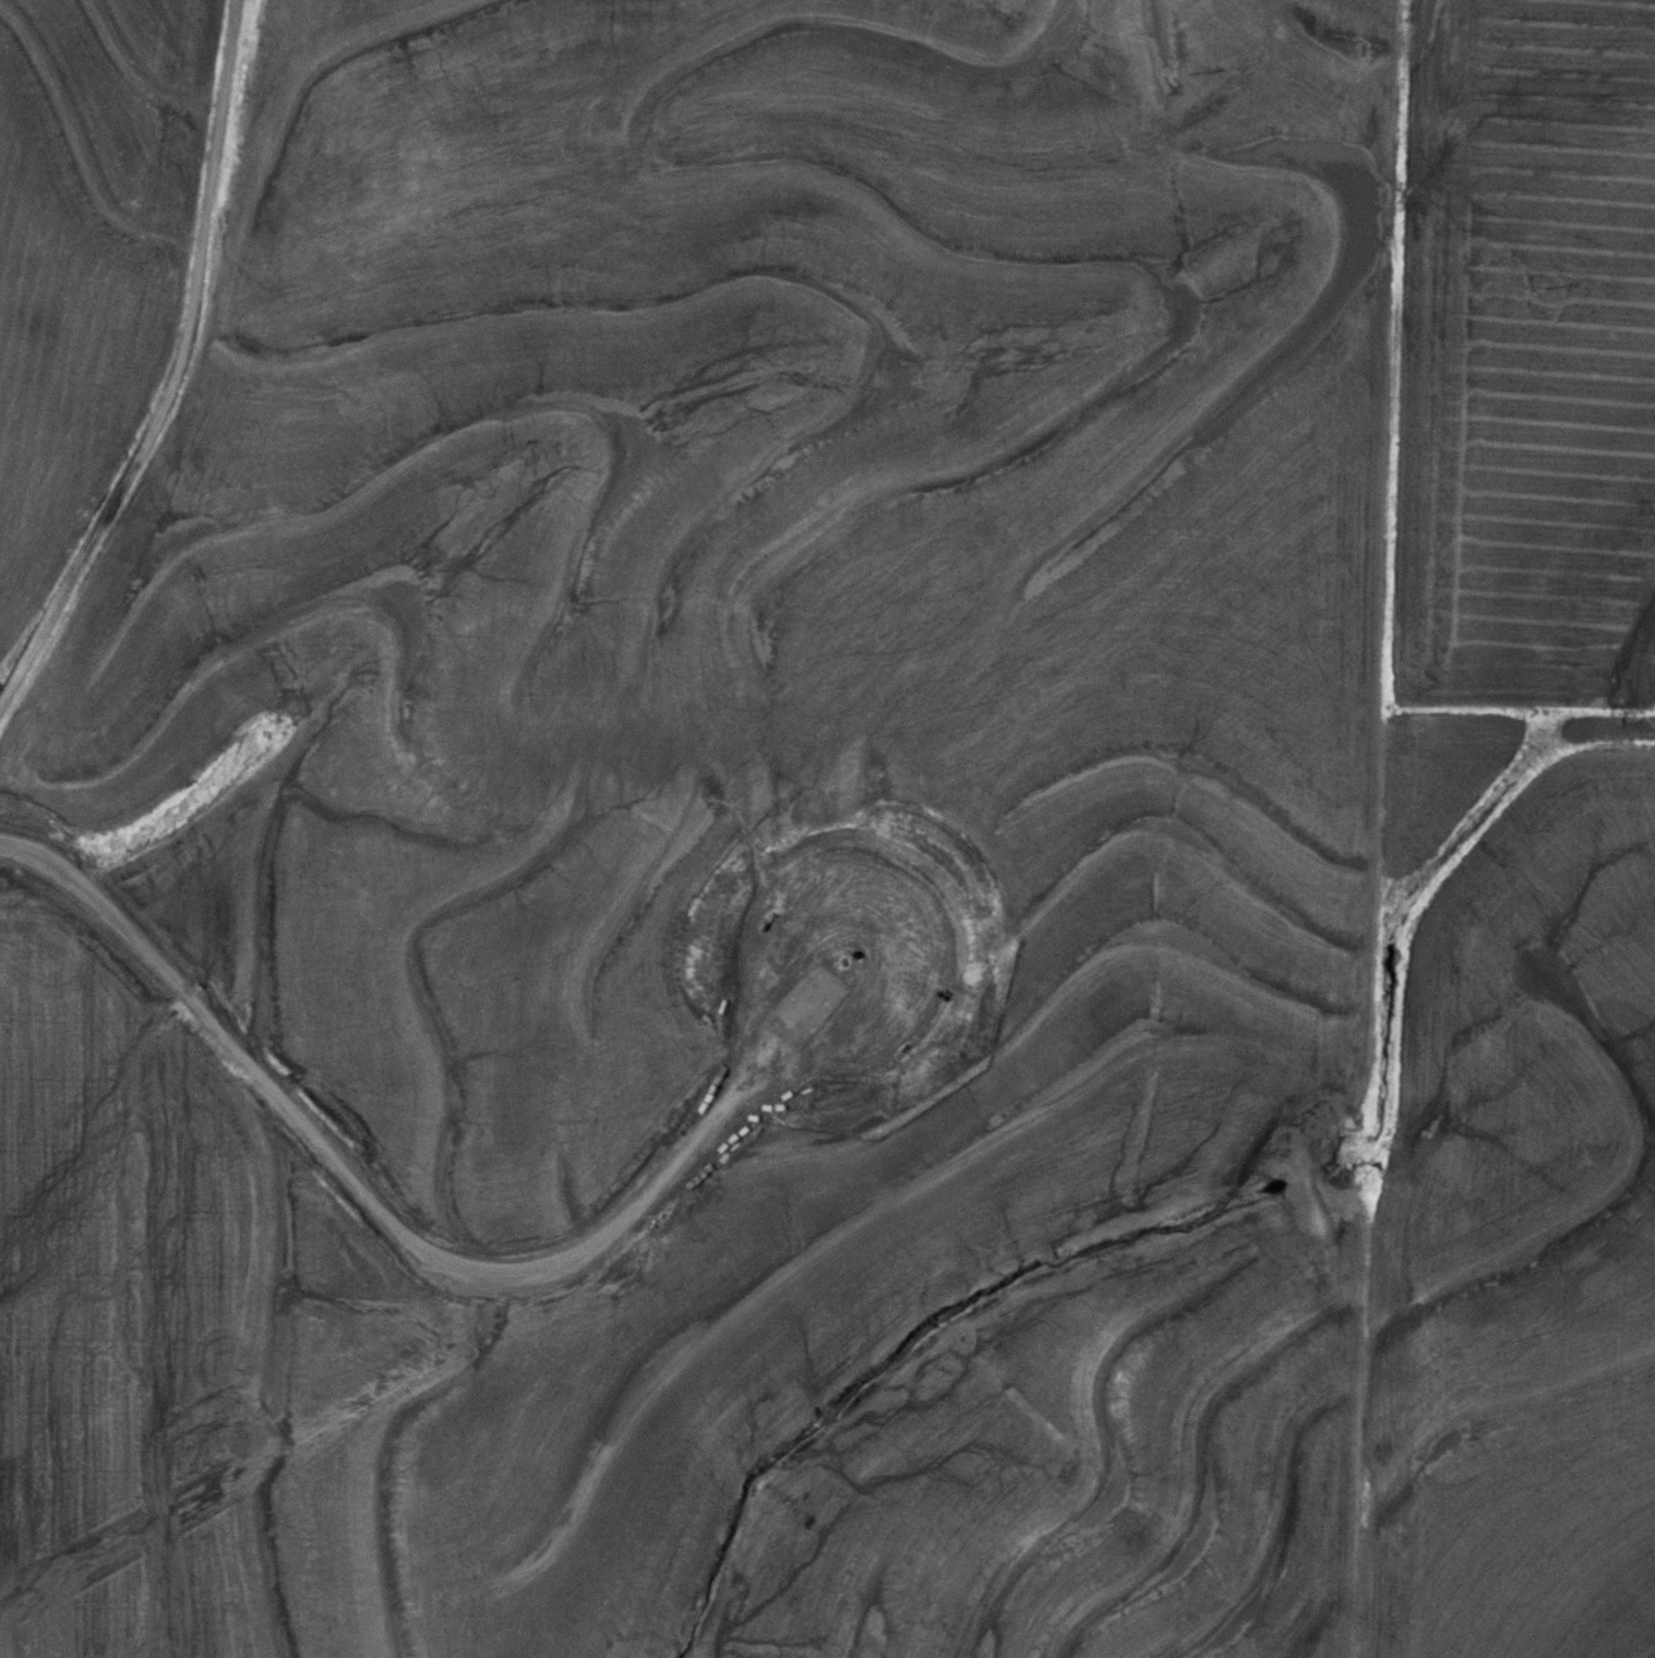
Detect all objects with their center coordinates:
road: (176, 370)

